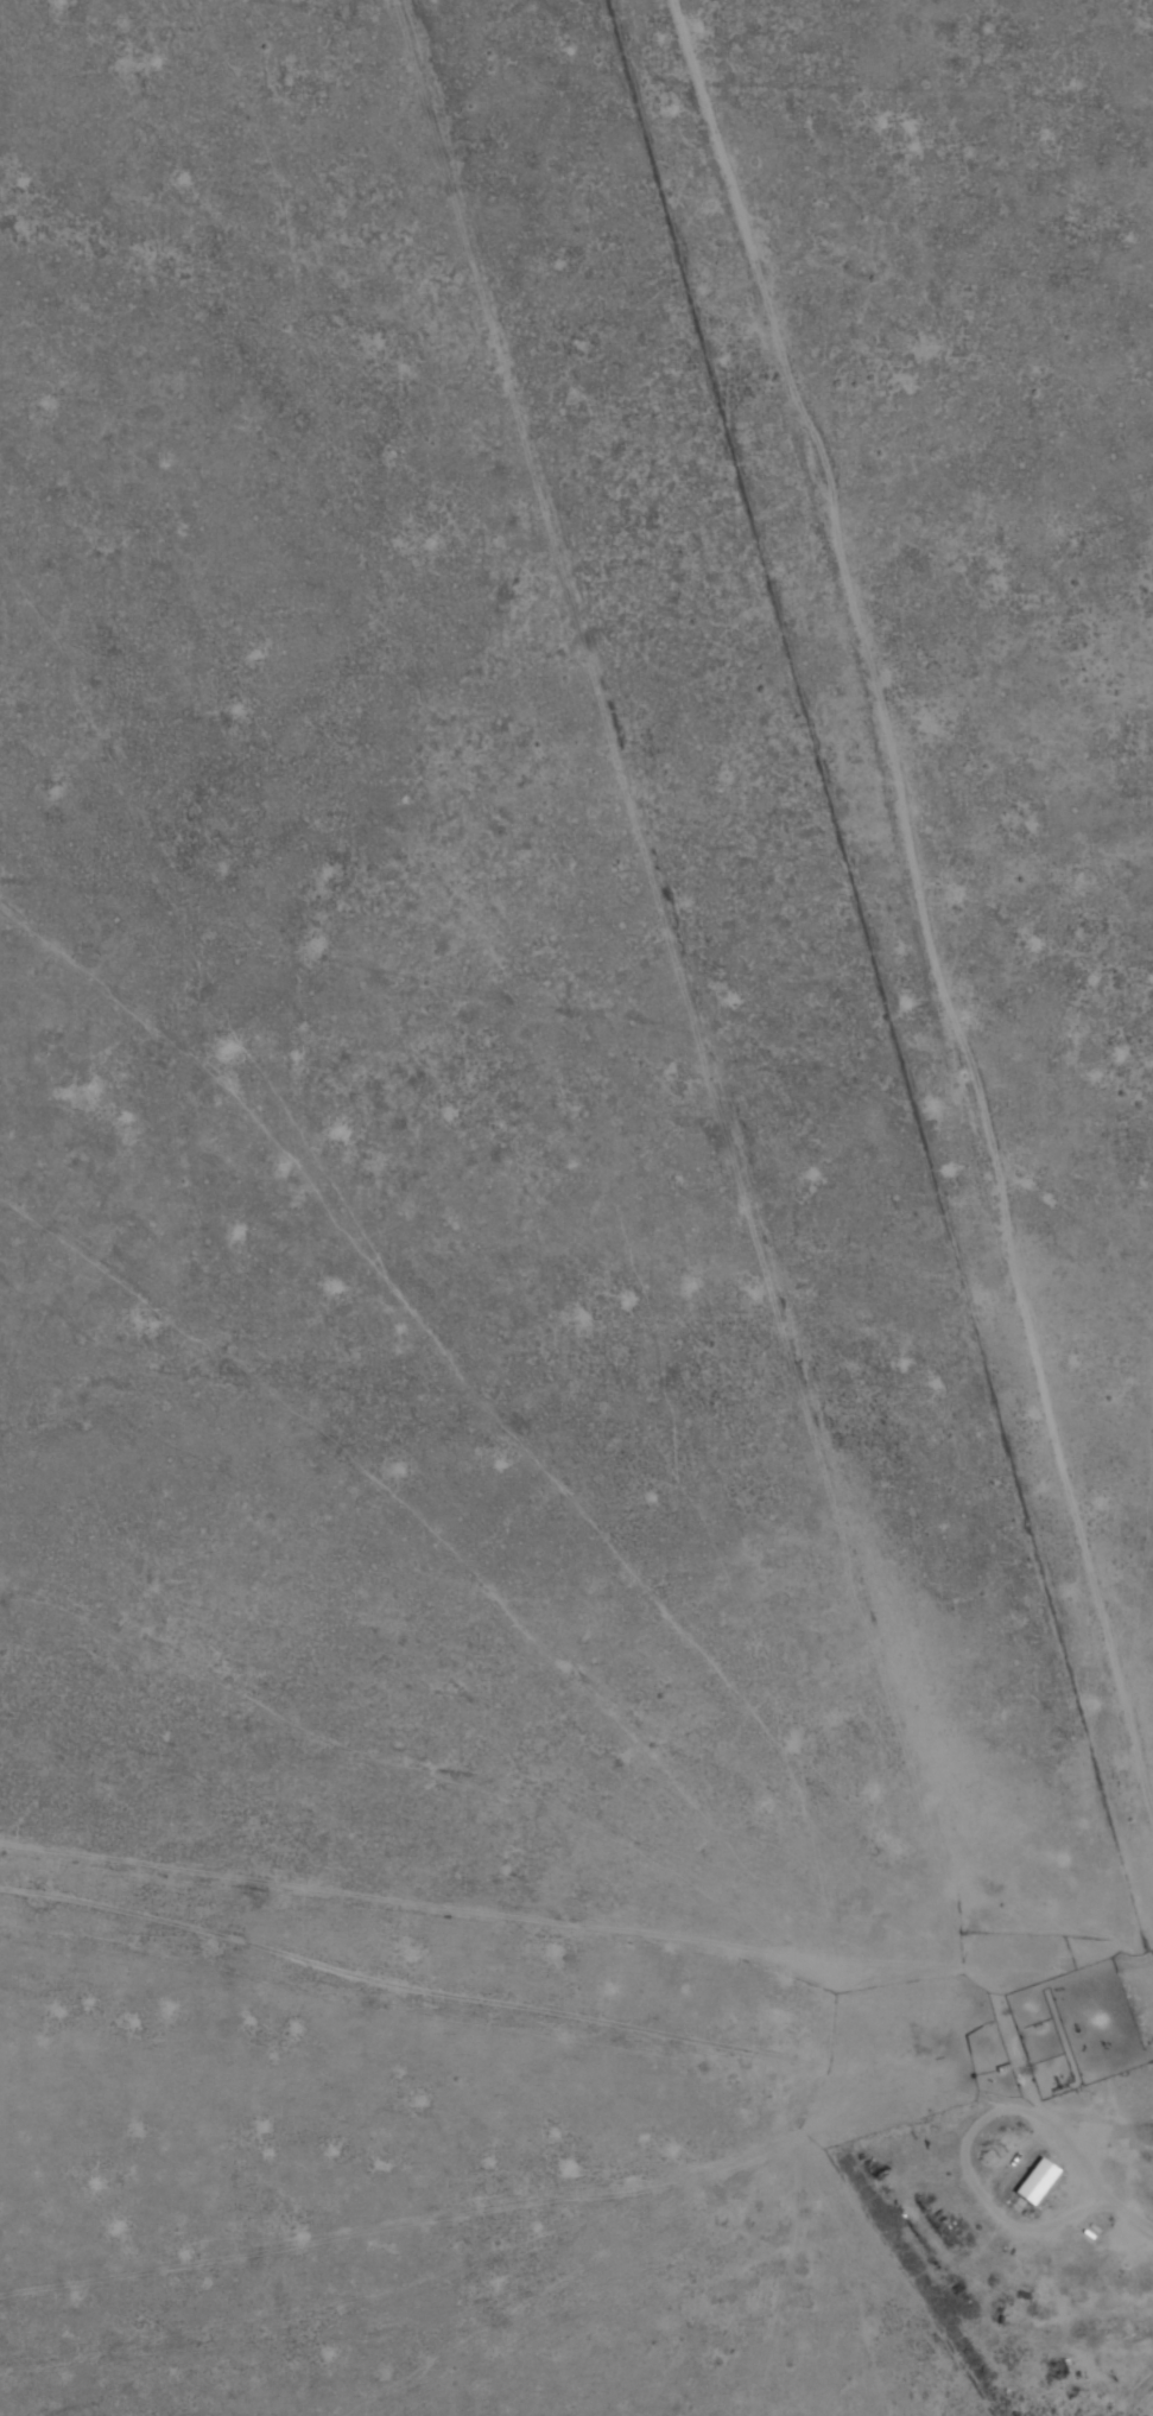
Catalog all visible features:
building: (1039, 2182)

